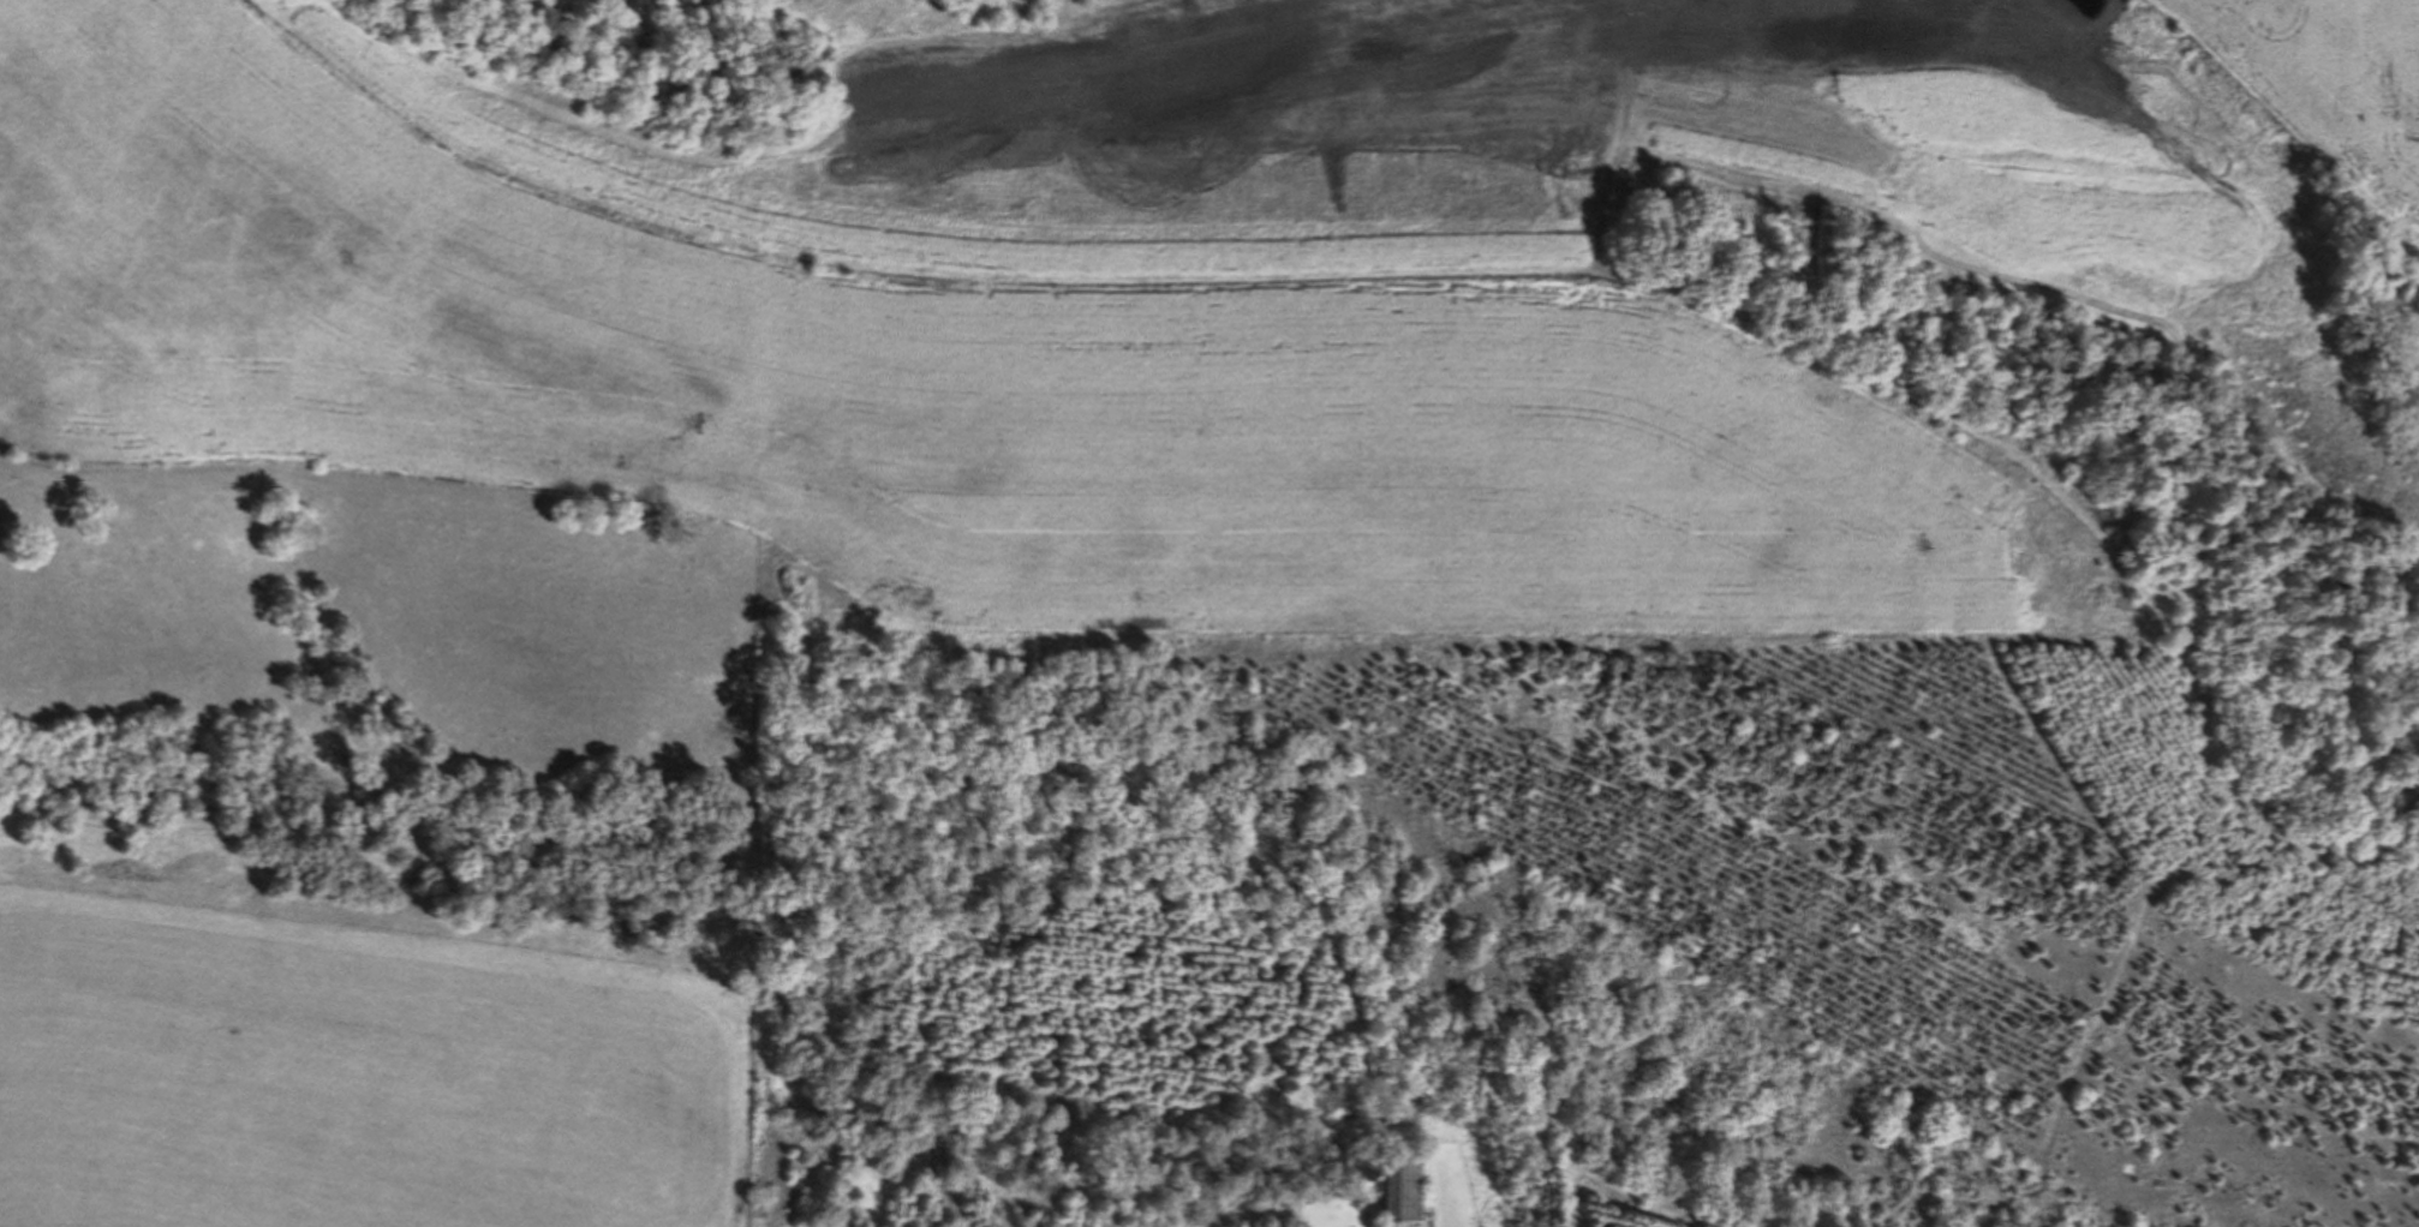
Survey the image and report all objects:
building: (1405, 1184)

